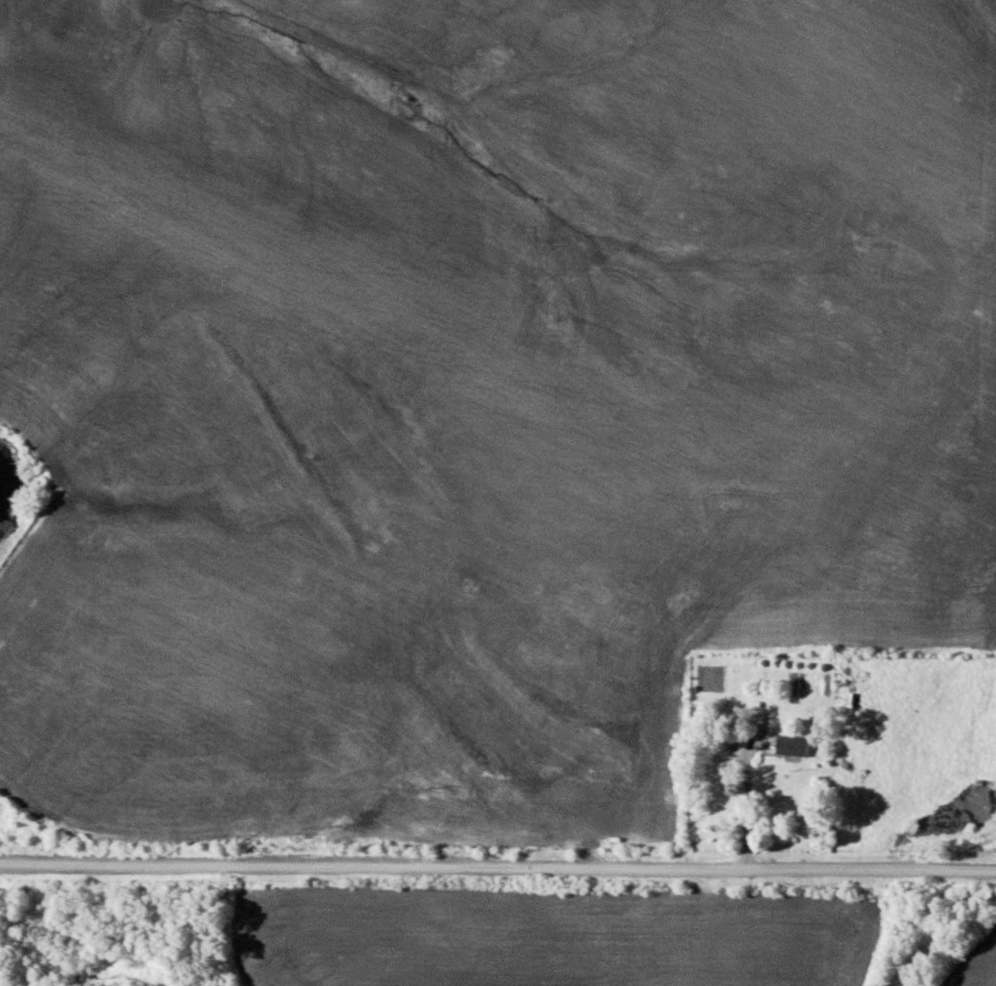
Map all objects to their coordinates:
building: (753, 714)
building: (789, 742)
road: (498, 860)

